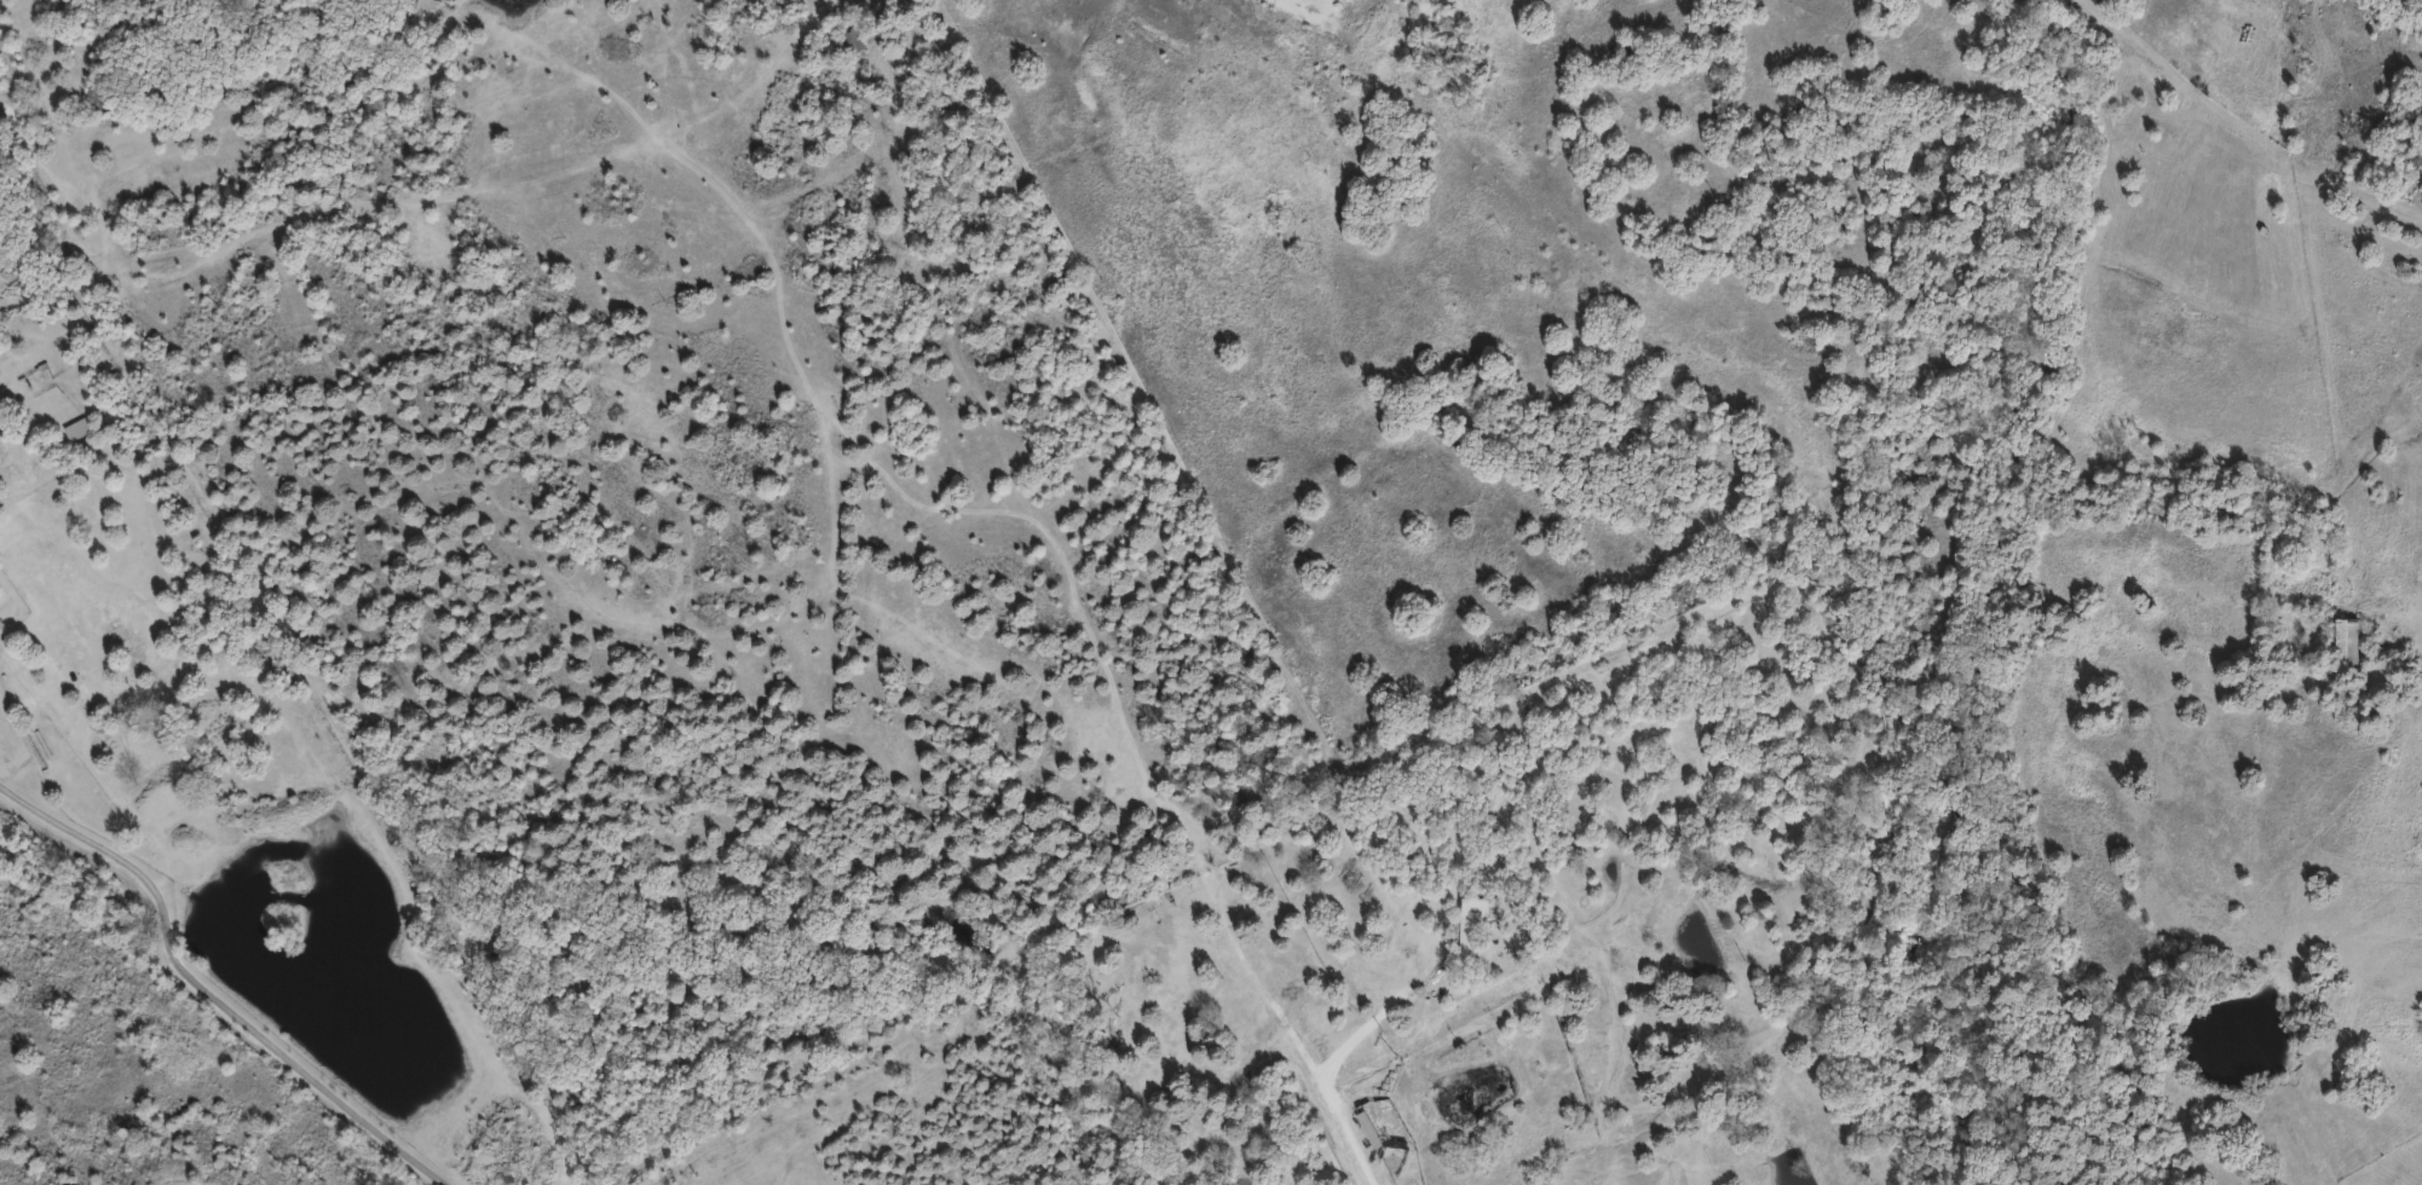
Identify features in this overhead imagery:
building: (847, 39)
building: (2339, 580)
building: (2341, 640)
road: (1696, 914)
road: (207, 990)
building: (1366, 1127)
building: (682, 1179)

